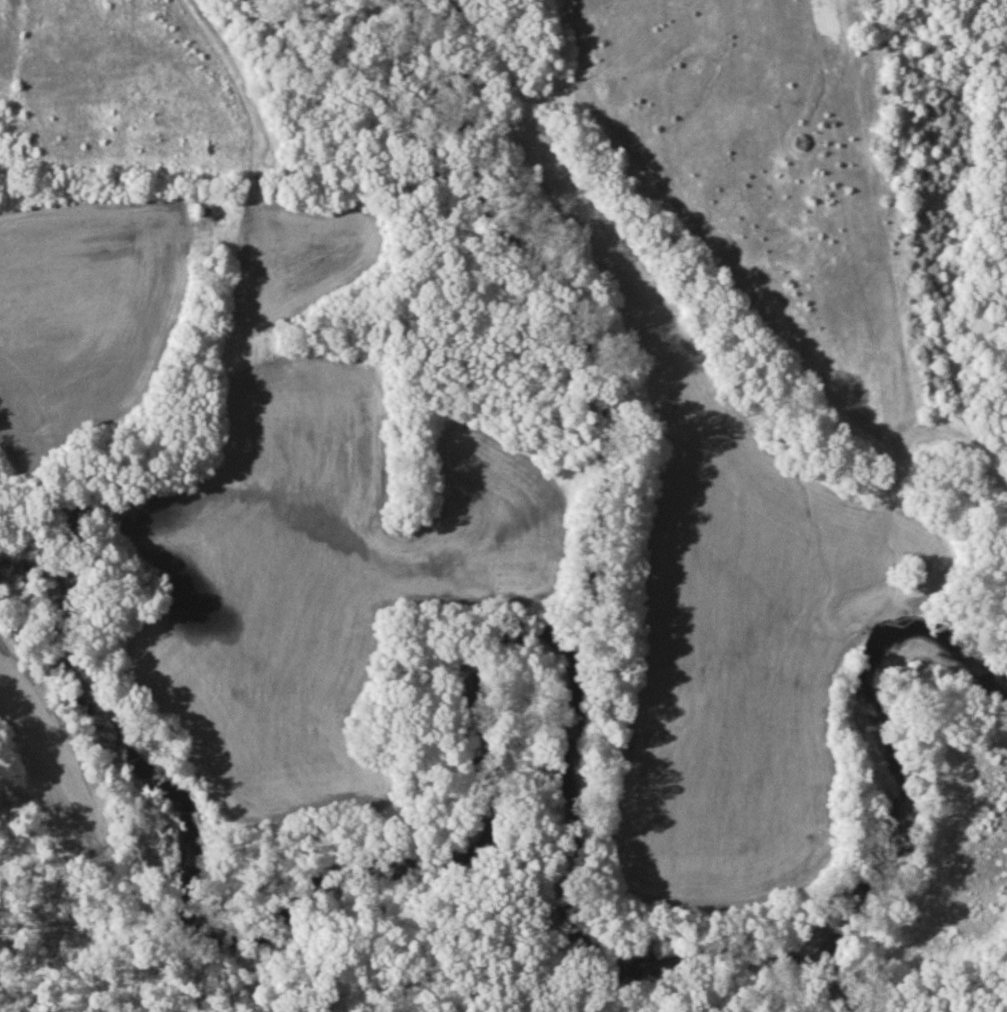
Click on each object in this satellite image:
river: (884, 780)

